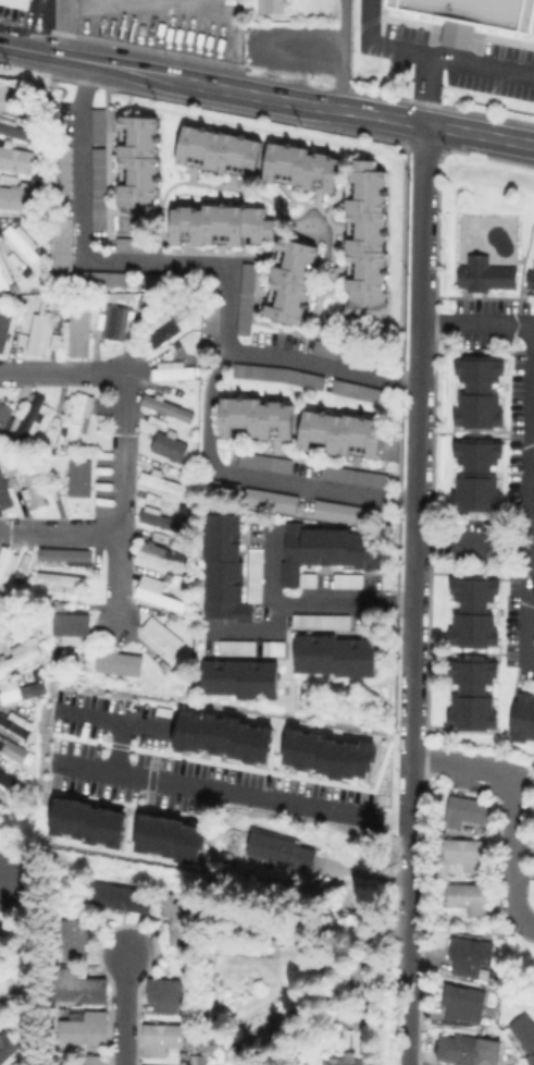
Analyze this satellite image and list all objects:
building: (15, 3)
building: (273, 7)
road: (89, 8)
building: (471, 15)
road: (34, 25)
road: (65, 28)
parking lot: (403, 33)
building: (275, 40)
road: (33, 50)
road: (340, 53)
road: (430, 54)
parking lot: (498, 71)
road: (152, 75)
road: (426, 89)
road: (296, 103)
road: (388, 118)
building: (15, 131)
road: (480, 134)
building: (221, 150)
building: (14, 159)
building: (136, 162)
building: (306, 168)
building: (59, 171)
building: (96, 187)
building: (15, 197)
building: (226, 227)
building: (20, 242)
building: (59, 243)
building: (128, 244)
building: (370, 244)
road: (198, 258)
building: (333, 273)
building: (485, 276)
building: (3, 277)
building: (107, 279)
building: (532, 281)
building: (295, 283)
building: (249, 299)
building: (214, 319)
building: (116, 323)
road: (476, 323)
building: (5, 328)
building: (163, 330)
building: (44, 331)
building: (79, 331)
building: (57, 344)
building: (331, 352)
building: (173, 370)
building: (284, 377)
building: (480, 392)
building: (365, 393)
building: (169, 407)
building: (79, 418)
building: (5, 420)
building: (33, 421)
building: (158, 421)
building: (258, 421)
building: (344, 432)
road: (123, 436)
building: (171, 445)
building: (266, 463)
building: (10, 467)
road: (251, 472)
building: (477, 475)
building: (80, 477)
building: (357, 477)
building: (32, 482)
building: (163, 483)
building: (224, 489)
building: (5, 494)
building: (275, 502)
road: (529, 511)
building: (341, 513)
building: (160, 518)
road: (60, 531)
building: (163, 537)
road: (471, 543)
building: (325, 553)
building: (73, 558)
building: (160, 558)
building: (7, 564)
building: (227, 572)
building: (261, 575)
building: (62, 579)
building: (352, 584)
building: (160, 592)
road: (413, 593)
road: (308, 602)
building: (475, 612)
building: (1, 615)
building: (323, 621)
building: (74, 629)
road: (256, 632)
building: (160, 637)
building: (238, 648)
building: (276, 649)
building: (18, 654)
road: (467, 654)
building: (336, 657)
building: (120, 662)
building: (243, 680)
building: (22, 689)
building: (473, 696)
road: (510, 710)
road: (110, 718)
building: (522, 722)
building: (16, 723)
building: (232, 735)
road: (121, 746)
building: (12, 749)
building: (334, 754)
building: (9, 778)
road: (232, 792)
road: (510, 807)
building: (468, 810)
building: (92, 822)
building: (175, 840)
building: (281, 849)
building: (467, 855)
building: (119, 896)
building: (468, 899)
building: (176, 919)
building: (8, 935)
building: (72, 938)
building: (1, 950)
building: (473, 960)
building: (76, 986)
building: (165, 993)
building: (212, 999)
building: (464, 1002)
road: (125, 1008)
building: (83, 1027)
building: (527, 1030)
building: (160, 1038)
building: (10, 1049)
building: (471, 1051)
building: (532, 1058)
building: (92, 1060)
building: (201, 1060)
building: (352, 1061)

